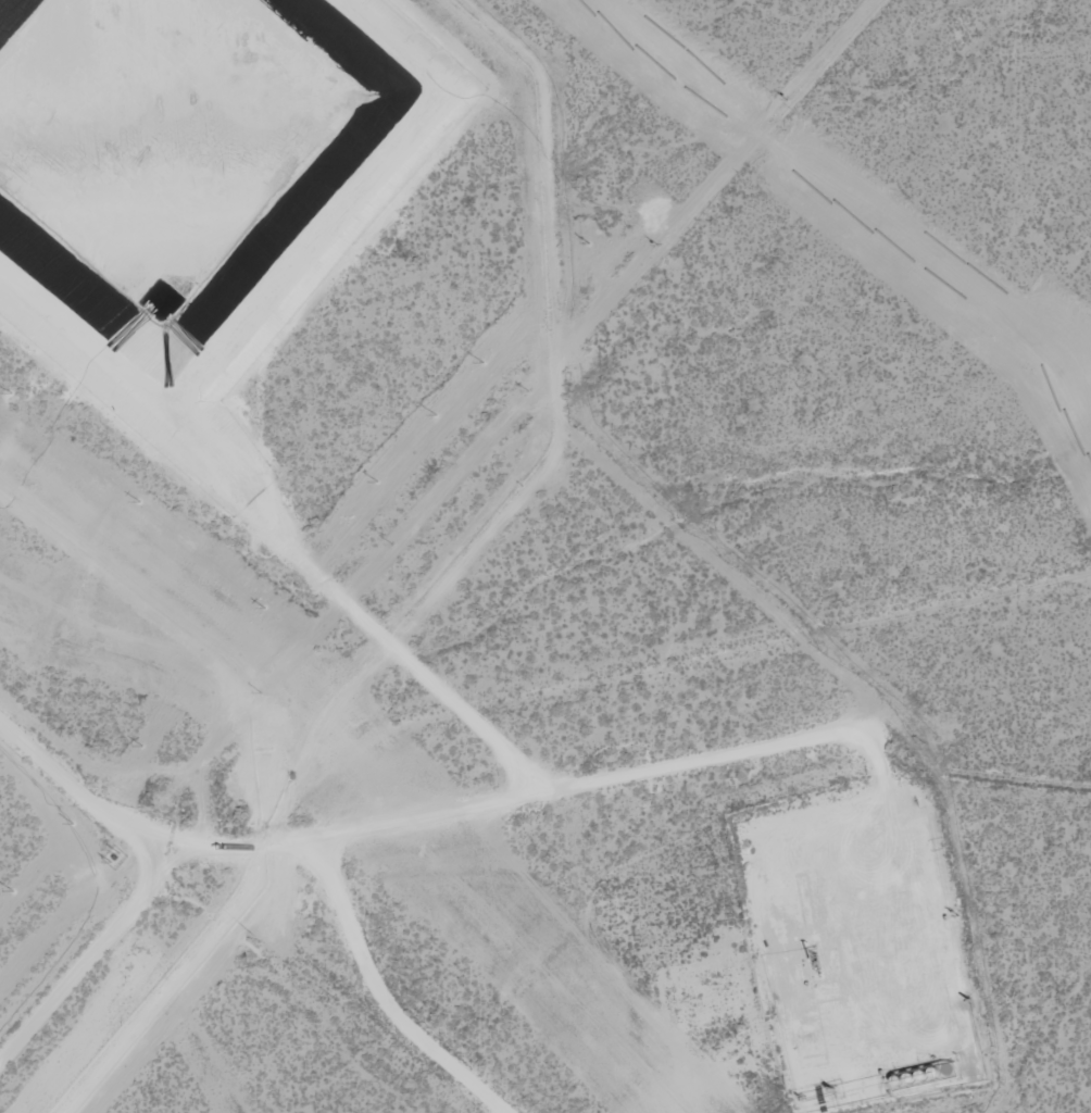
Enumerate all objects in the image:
road: (664, 766)
road: (67, 803)
road: (616, 861)
road: (1019, 921)
road: (68, 928)

